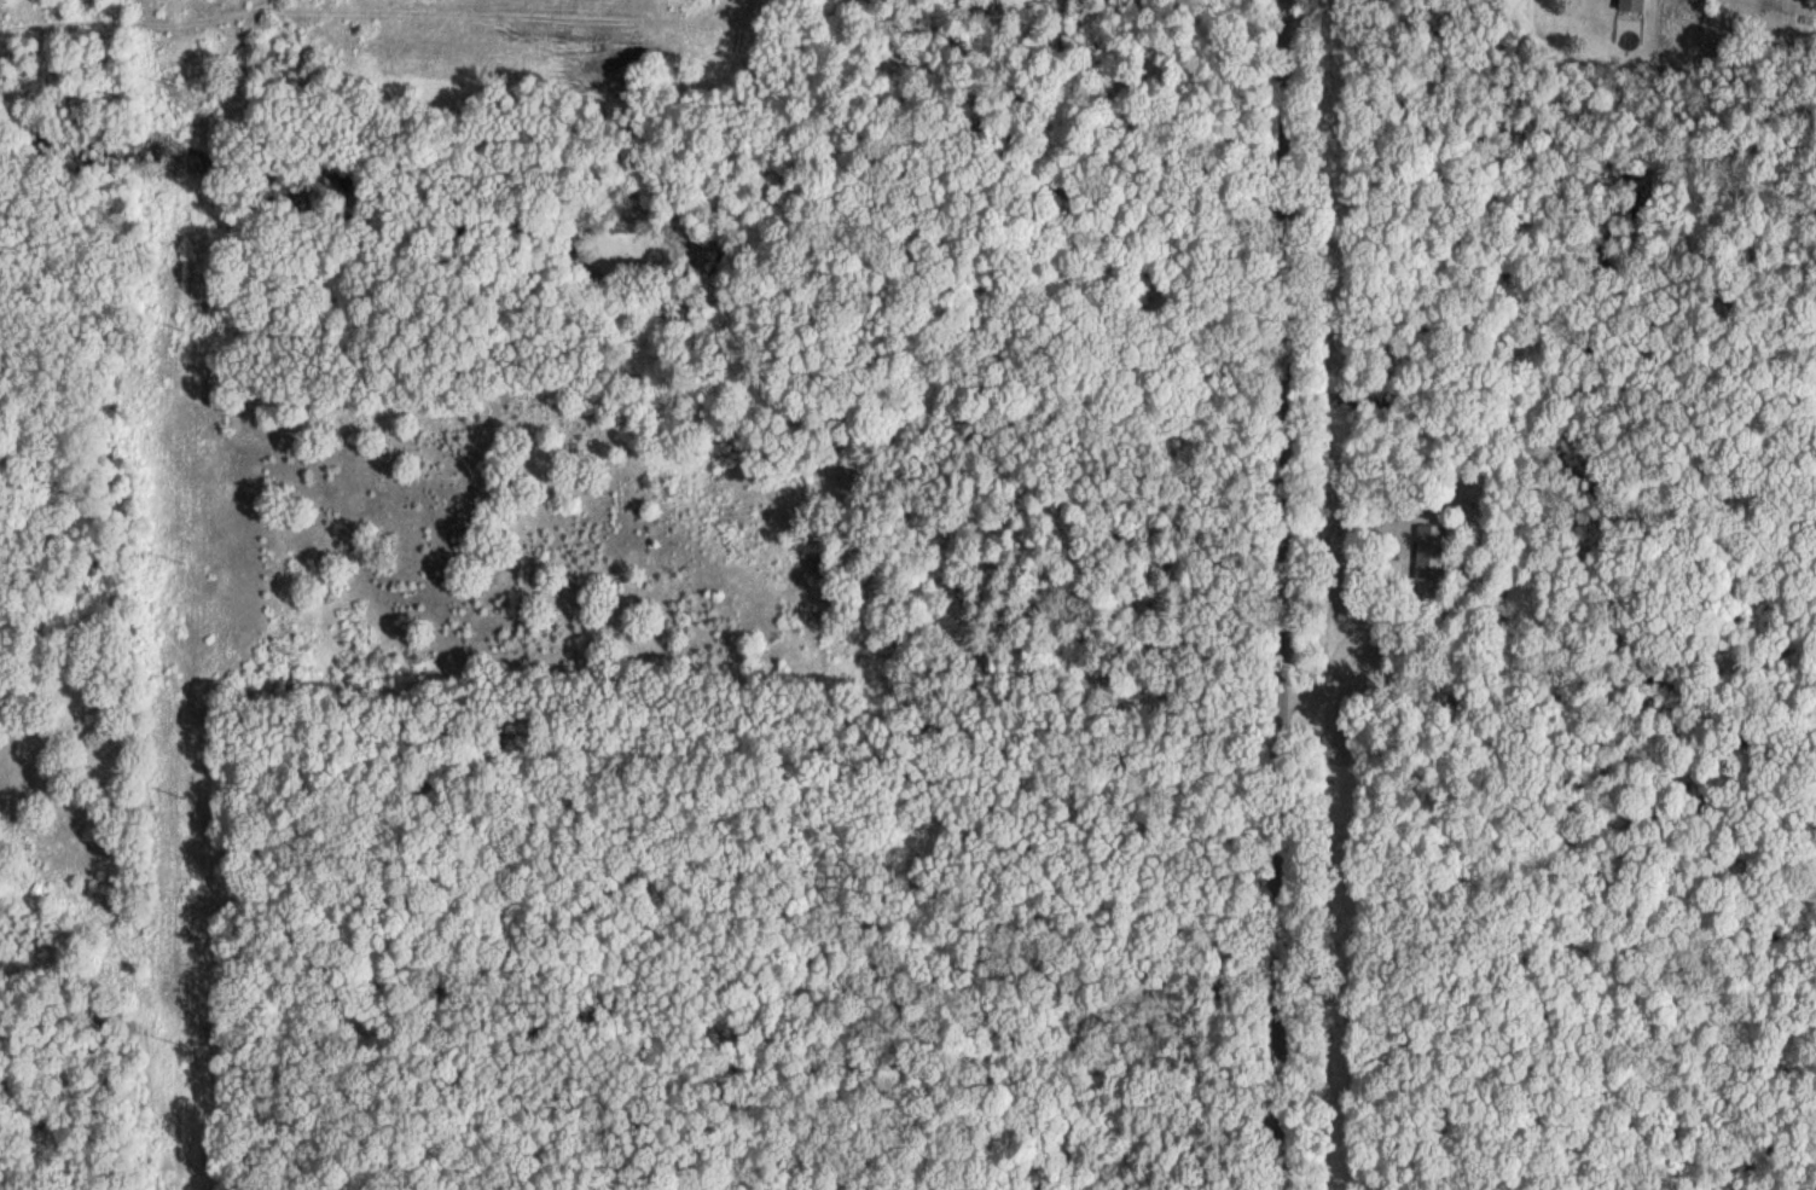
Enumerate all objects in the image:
building: (1630, 6)
building: (1428, 552)
road: (1278, 594)

